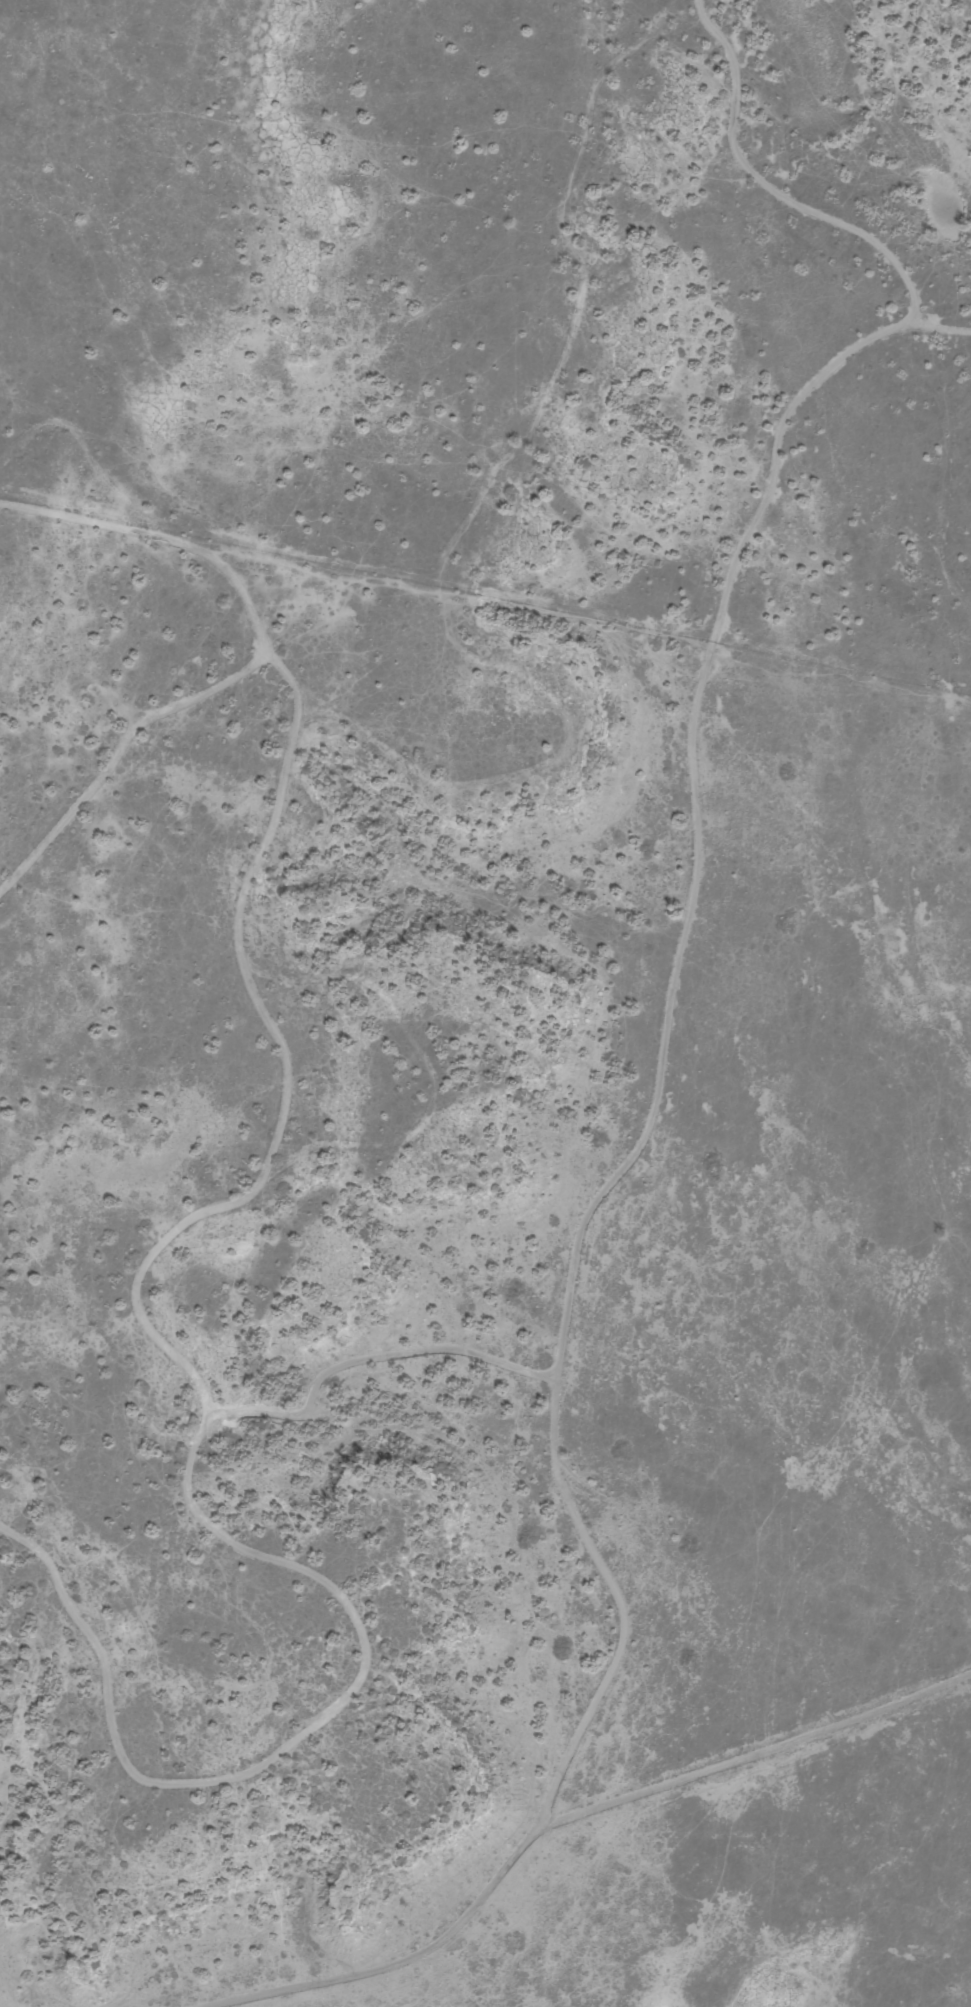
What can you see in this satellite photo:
road: (785, 205)
road: (163, 538)
road: (118, 751)
road: (657, 1060)
road: (194, 1220)
road: (283, 1747)
road: (560, 1817)

